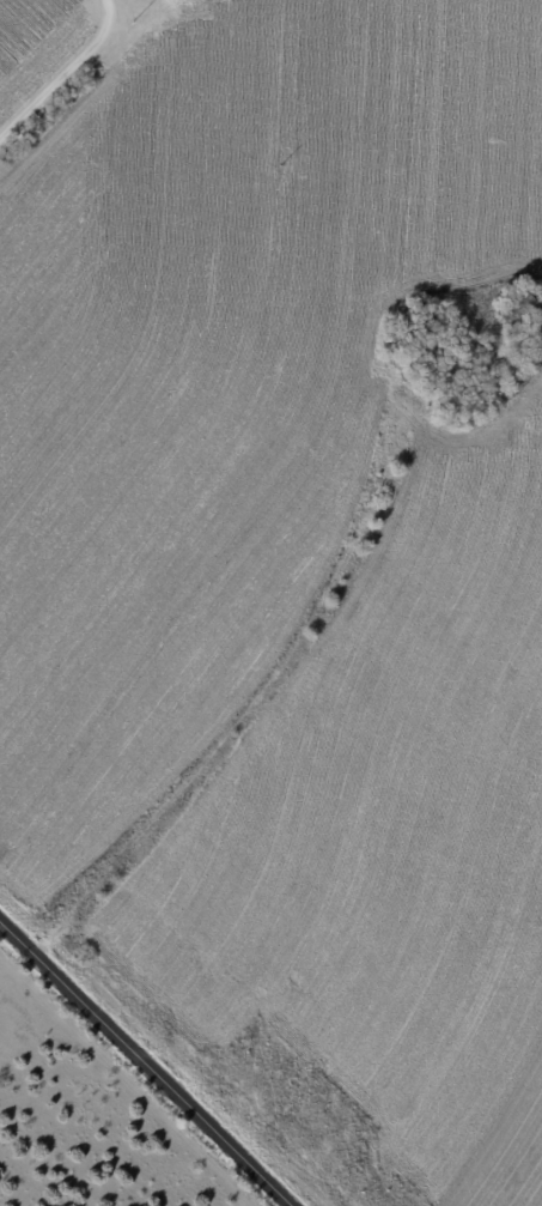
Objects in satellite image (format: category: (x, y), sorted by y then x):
road: (65, 75)
building: (425, 310)
building: (522, 315)
building: (404, 338)
road: (147, 1061)

